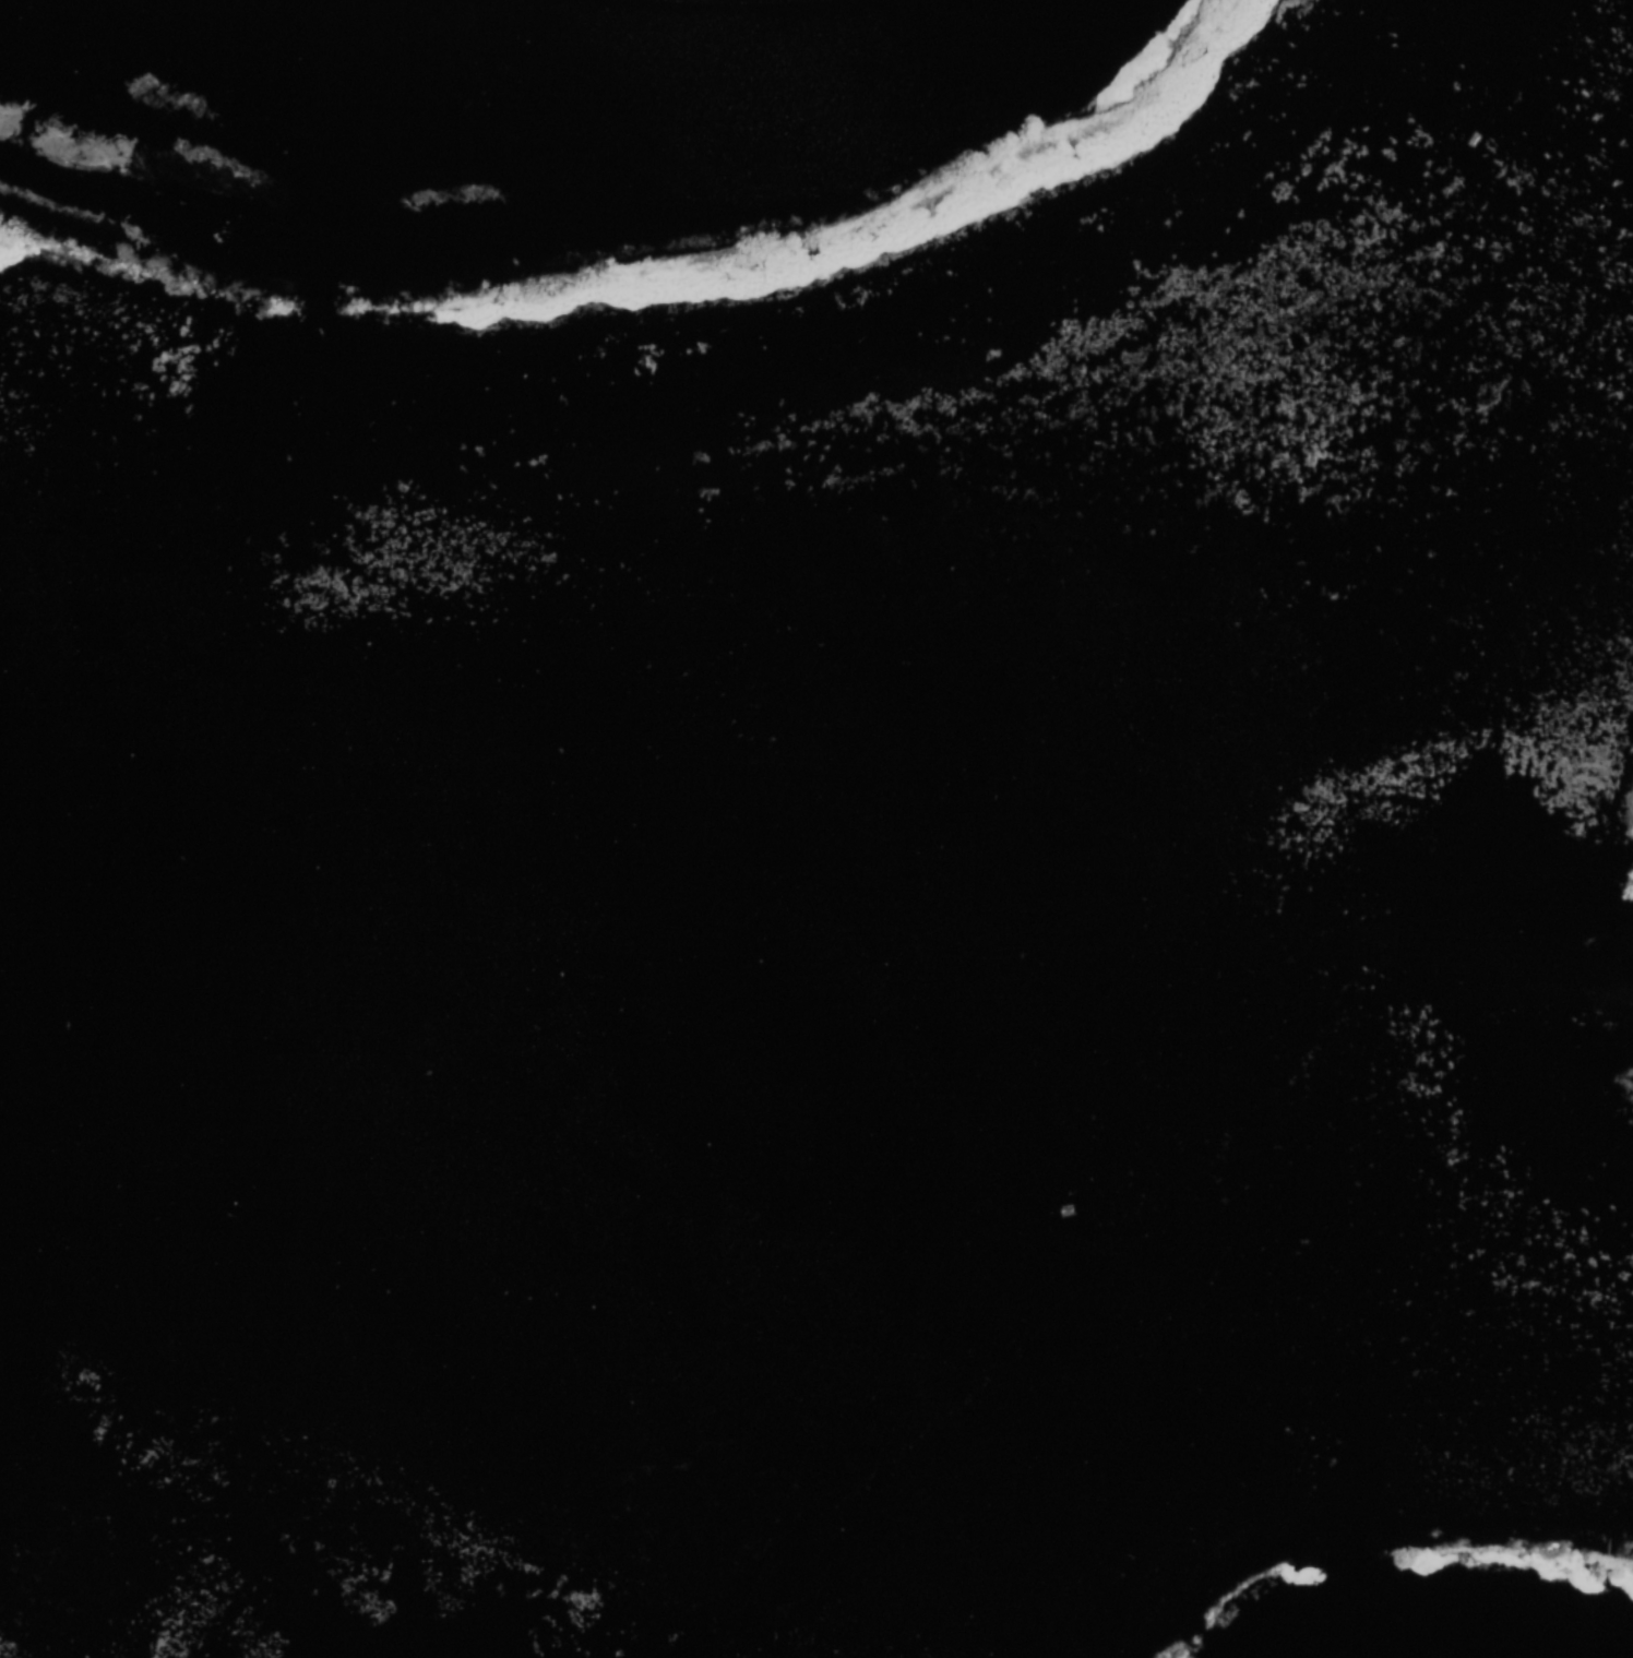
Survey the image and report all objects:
river: (440, 55)

